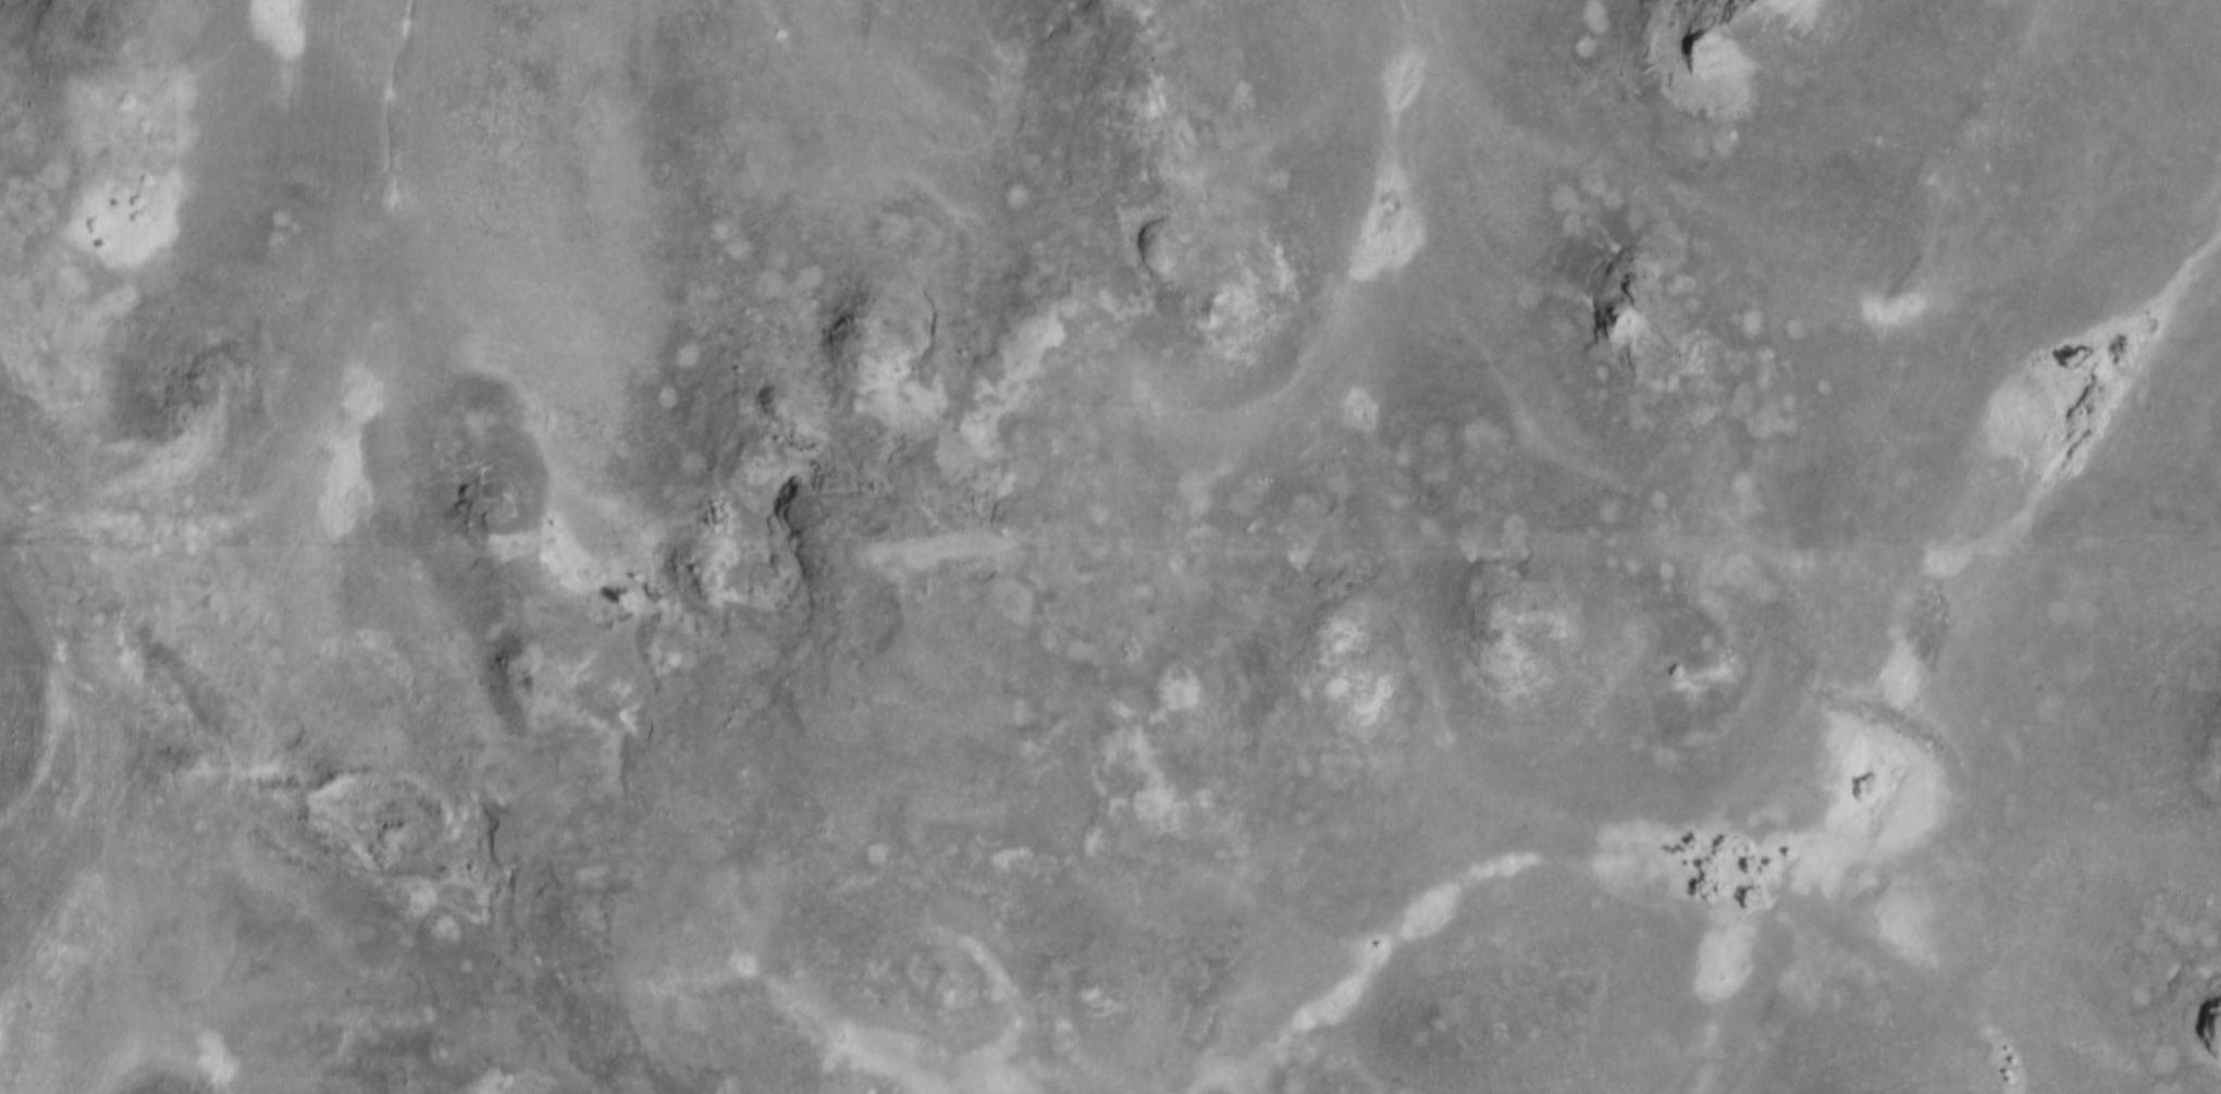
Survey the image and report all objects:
quarry: (47, 783)

